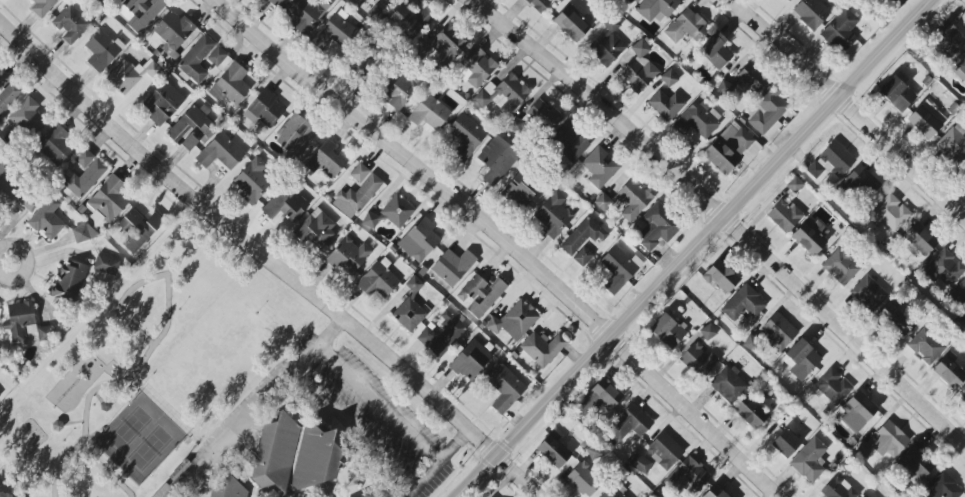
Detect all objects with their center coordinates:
building: (112, 0)
building: (632, 0)
building: (788, 0)
building: (894, 1)
building: (274, 3)
building: (538, 4)
building: (42, 7)
building: (656, 8)
building: (140, 12)
building: (305, 12)
building: (811, 13)
building: (410, 20)
building: (70, 24)
building: (571, 24)
building: (686, 26)
building: (840, 30)
building: (333, 32)
building: (948, 37)
building: (188, 41)
building: (606, 45)
building: (102, 50)
building: (716, 50)
building: (219, 58)
building: (197, 59)
building: (959, 66)
building: (475, 67)
building: (639, 68)
building: (132, 74)
building: (669, 78)
building: (751, 79)
building: (230, 85)
building: (397, 89)
building: (7, 92)
building: (503, 94)
building: (898, 94)
building: (163, 103)
road: (851, 104)
building: (666, 105)
building: (264, 110)
building: (767, 112)
building: (429, 113)
building: (544, 115)
building: (27, 119)
building: (927, 119)
building: (697, 120)
building: (191, 127)
building: (295, 135)
building: (466, 136)
building: (569, 142)
building: (55, 146)
building: (952, 146)
building: (731, 149)
building: (221, 152)
building: (326, 160)
building: (496, 160)
building: (832, 161)
building: (599, 167)
building: (963, 173)
building: (83, 175)
building: (253, 183)
building: (860, 183)
building: (795, 185)
building: (520, 190)
building: (357, 192)
building: (14, 193)
building: (633, 199)
building: (109, 201)
building: (285, 207)
building: (397, 211)
building: (890, 213)
building: (553, 215)
building: (785, 215)
road: (724, 216)
building: (47, 219)
building: (370, 220)
building: (656, 227)
building: (316, 228)
building: (138, 229)
building: (83, 233)
building: (583, 236)
building: (810, 236)
building: (419, 240)
building: (920, 240)
road: (504, 241)
road: (694, 249)
building: (348, 256)
building: (583, 257)
road: (269, 260)
road: (31, 263)
building: (106, 265)
building: (453, 266)
building: (841, 267)
building: (944, 268)
building: (619, 269)
building: (721, 277)
building: (71, 280)
road: (147, 281)
building: (377, 281)
building: (869, 294)
building: (958, 294)
building: (480, 295)
building: (743, 304)
building: (409, 315)
building: (19, 319)
building: (895, 319)
building: (514, 321)
building: (667, 331)
building: (708, 332)
building: (777, 332)
building: (45, 333)
building: (447, 333)
building: (426, 337)
building: (926, 346)
building: (542, 348)
building: (801, 359)
building: (699, 360)
building: (470, 361)
building: (950, 371)
park: (147, 372)
road: (103, 386)
building: (833, 386)
building: (506, 389)
building: (0, 395)
building: (963, 395)
building: (601, 396)
road: (329, 405)
road: (381, 405)
building: (857, 411)
building: (750, 413)
building: (630, 422)
road: (74, 423)
road: (235, 435)
building: (884, 442)
building: (785, 443)
building: (553, 450)
building: (664, 451)
building: (294, 455)
building: (809, 460)
building: (640, 463)
road: (436, 464)
building: (915, 464)
road: (59, 467)
road: (106, 471)
building: (688, 475)
building: (583, 480)
building: (942, 487)
building: (229, 489)
building: (838, 489)
building: (614, 492)
building: (715, 492)
road: (1, 495)
building: (864, 496)

